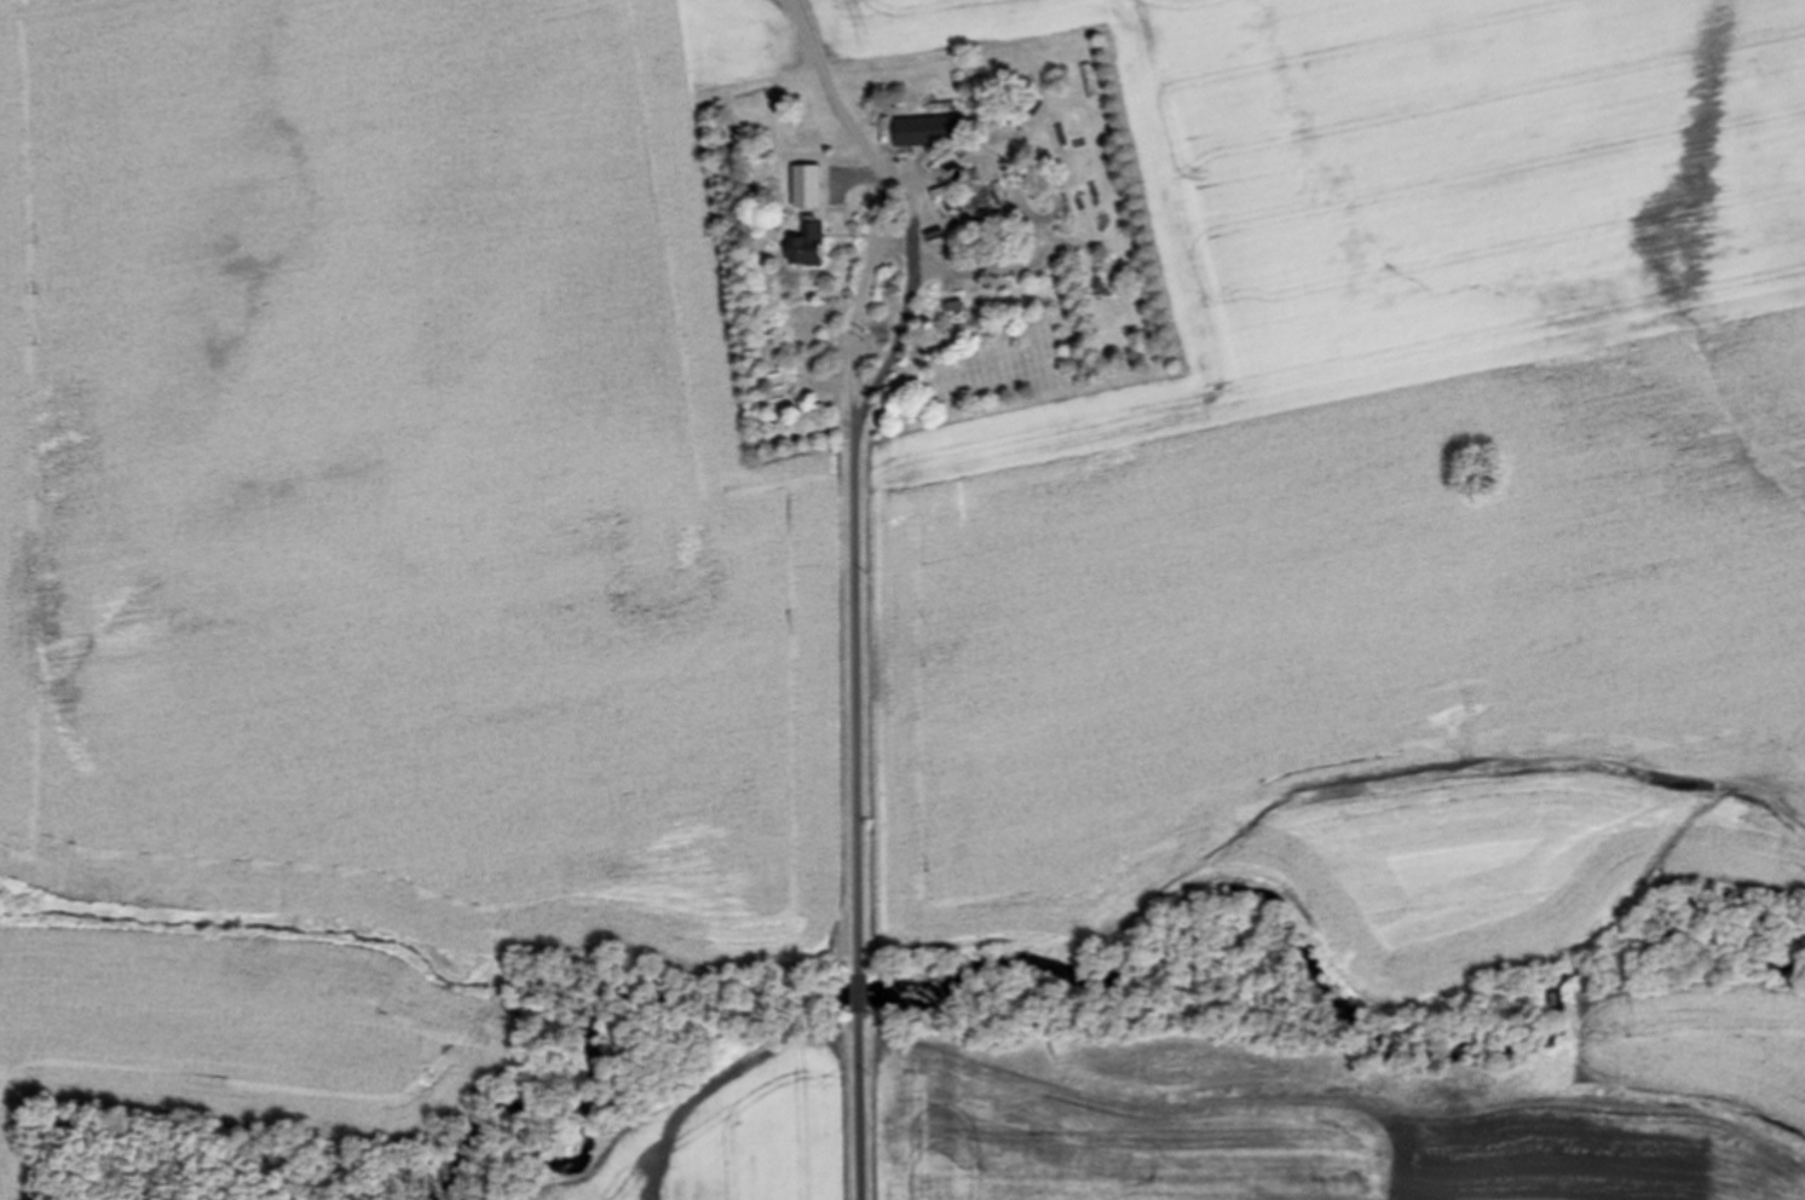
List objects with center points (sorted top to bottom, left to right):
building: (811, 138)
road: (1008, 166)
road: (917, 227)
building: (813, 244)
road: (861, 817)

